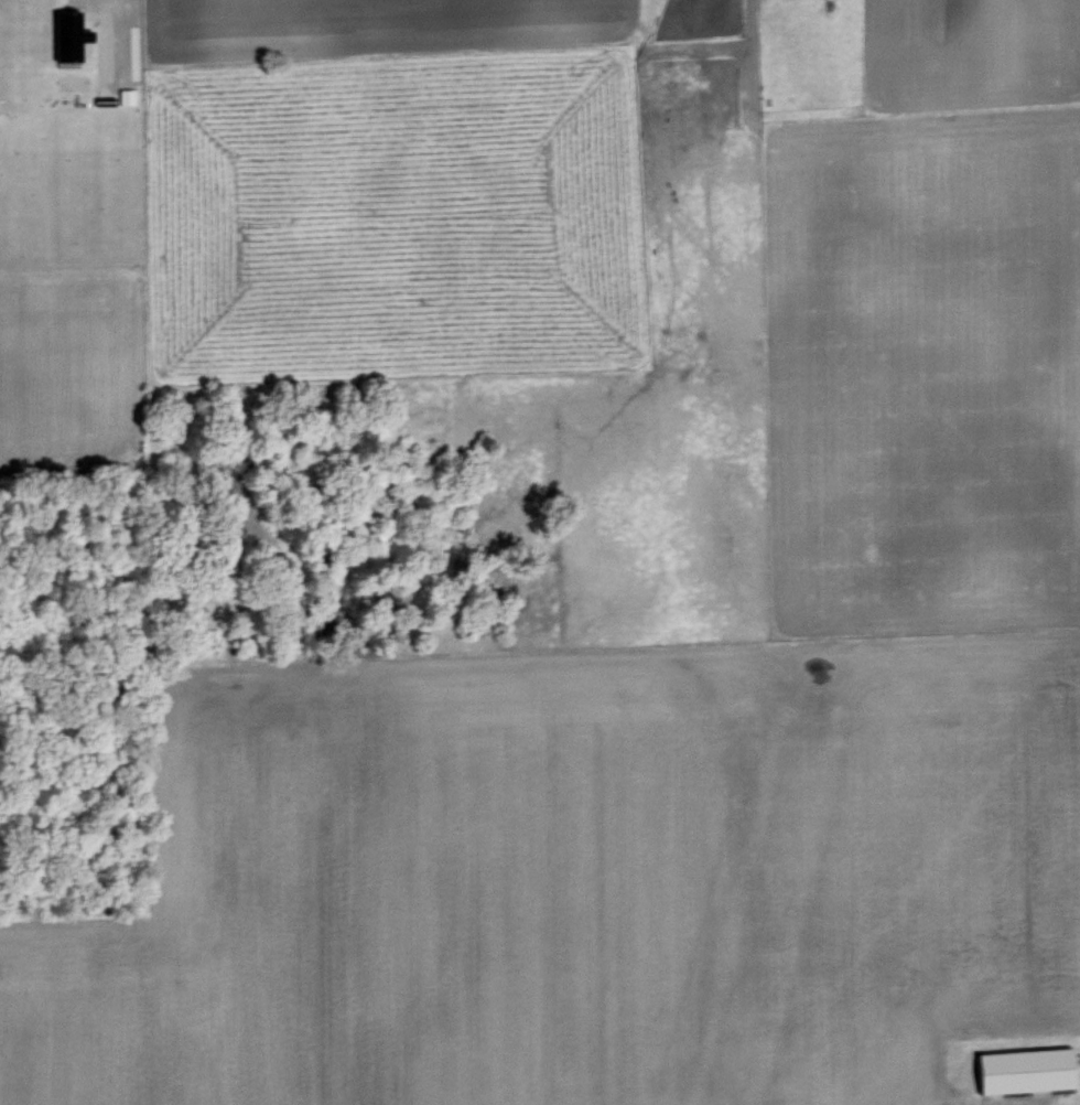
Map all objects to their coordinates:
road: (117, 8)
building: (66, 34)
building: (125, 95)
road: (453, 98)
building: (1024, 1068)

